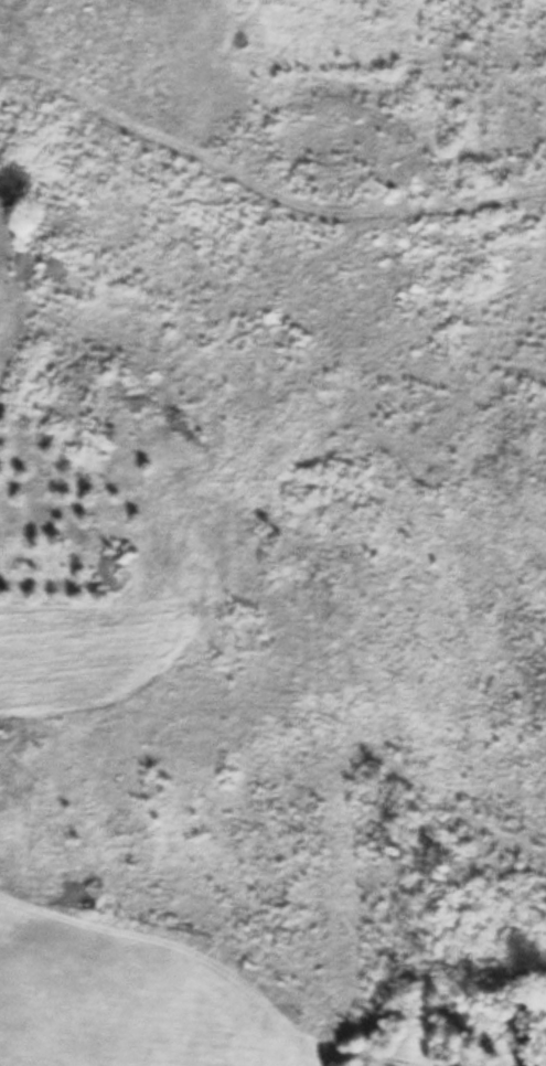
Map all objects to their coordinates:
road: (4, 243)

